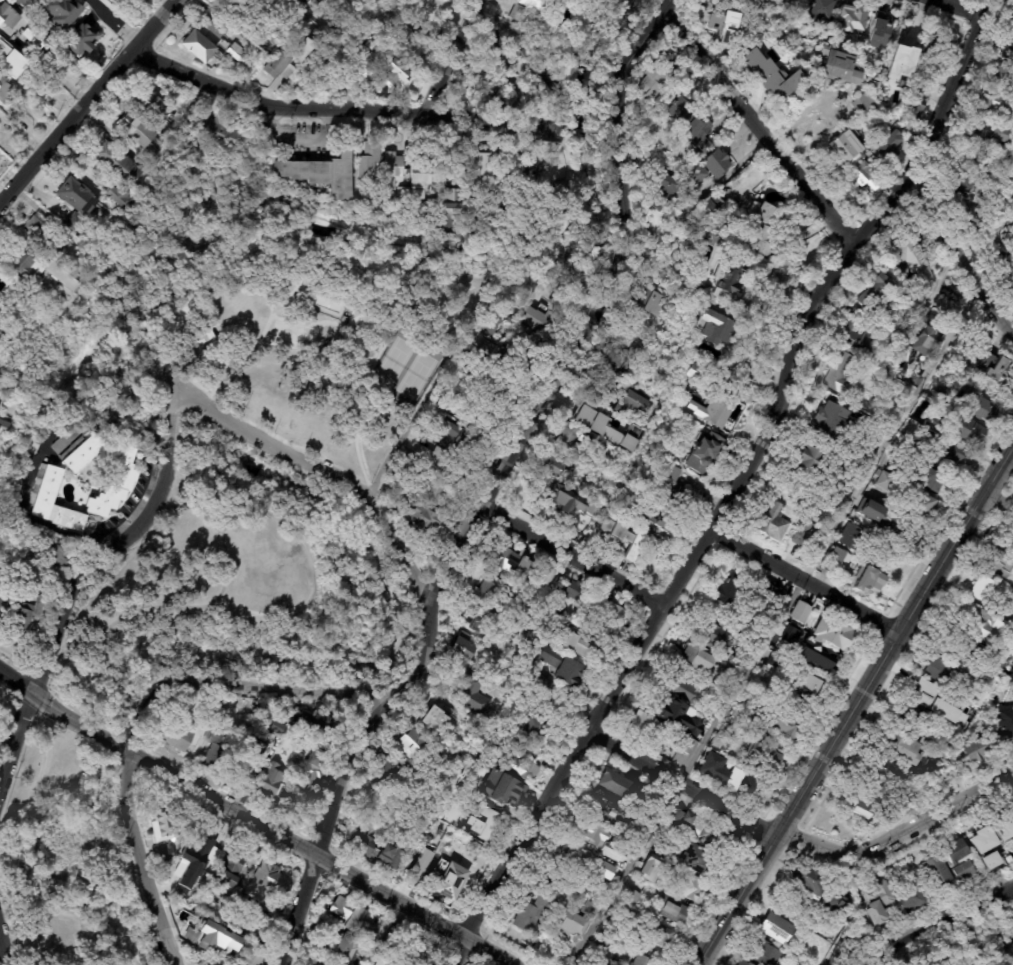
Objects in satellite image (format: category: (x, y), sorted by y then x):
building: (296, 0)
building: (299, 0)
building: (446, 0)
building: (251, 1)
building: (569, 1)
building: (767, 1)
building: (25, 2)
road: (167, 4)
building: (533, 4)
building: (786, 4)
building: (822, 9)
road: (951, 10)
building: (230, 11)
building: (7, 13)
building: (66, 13)
building: (853, 18)
road: (114, 21)
building: (721, 24)
building: (213, 26)
building: (1012, 27)
building: (257, 28)
building: (794, 30)
building: (545, 32)
building: (879, 32)
building: (39, 36)
building: (85, 39)
building: (198, 43)
building: (934, 44)
building: (1008, 50)
building: (8, 51)
building: (235, 51)
building: (517, 51)
road: (452, 56)
building: (495, 57)
building: (63, 58)
building: (285, 59)
building: (318, 62)
building: (900, 62)
building: (924, 65)
building: (361, 68)
building: (837, 69)
building: (566, 71)
building: (766, 76)
building: (391, 77)
building: (1000, 77)
building: (652, 80)
building: (486, 83)
building: (901, 84)
building: (6, 87)
building: (917, 91)
building: (539, 95)
road: (89, 102)
building: (859, 104)
building: (994, 104)
building: (151, 106)
building: (914, 109)
road: (336, 111)
building: (688, 121)
road: (754, 128)
building: (213, 130)
road: (582, 130)
building: (989, 132)
building: (138, 133)
building: (886, 146)
building: (844, 148)
building: (973, 157)
building: (368, 160)
building: (116, 162)
building: (481, 162)
building: (715, 162)
building: (391, 169)
building: (455, 170)
building: (323, 172)
building: (694, 173)
building: (417, 176)
building: (861, 178)
building: (771, 179)
building: (961, 188)
building: (666, 190)
building: (560, 193)
building: (119, 194)
building: (73, 200)
building: (362, 201)
building: (434, 204)
building: (449, 205)
building: (688, 205)
building: (712, 208)
building: (975, 219)
building: (1003, 226)
building: (758, 227)
building: (686, 228)
building: (43, 234)
road: (288, 239)
road: (958, 256)
building: (20, 264)
building: (917, 266)
building: (57, 274)
building: (697, 275)
road: (550, 283)
building: (728, 283)
building: (873, 293)
building: (496, 298)
building: (649, 300)
building: (327, 303)
road: (274, 312)
road: (376, 315)
road: (440, 317)
building: (542, 318)
building: (487, 322)
building: (710, 325)
building: (1, 331)
park: (286, 334)
building: (209, 336)
building: (627, 337)
building: (859, 340)
building: (923, 340)
building: (530, 344)
building: (491, 350)
park: (319, 353)
building: (612, 355)
road: (222, 358)
park: (404, 366)
building: (986, 368)
building: (515, 370)
building: (838, 372)
building: (624, 374)
building: (696, 374)
building: (913, 380)
road: (212, 385)
building: (10, 387)
park: (126, 388)
road: (427, 390)
road: (361, 396)
building: (500, 398)
building: (631, 401)
building: (975, 405)
road: (171, 407)
building: (713, 409)
building: (828, 420)
building: (4, 423)
building: (606, 428)
building: (965, 430)
building: (454, 435)
building: (572, 436)
building: (64, 438)
building: (876, 441)
road: (169, 445)
building: (604, 448)
building: (943, 450)
building: (701, 454)
building: (427, 457)
building: (805, 458)
building: (27, 466)
building: (555, 466)
road: (316, 468)
building: (672, 472)
building: (123, 475)
building: (932, 475)
building: (883, 480)
road: (739, 487)
building: (50, 489)
building: (430, 492)
road: (495, 492)
building: (571, 498)
building: (683, 499)
road: (996, 504)
road: (201, 506)
building: (917, 507)
building: (875, 513)
road: (21, 516)
building: (420, 516)
building: (640, 517)
building: (771, 521)
building: (661, 522)
building: (801, 535)
building: (848, 536)
building: (622, 538)
road: (304, 543)
building: (53, 554)
building: (838, 555)
road: (577, 556)
building: (510, 561)
building: (1001, 562)
building: (543, 575)
road: (808, 580)
building: (869, 580)
park: (242, 589)
building: (727, 589)
building: (574, 590)
building: (992, 592)
building: (489, 593)
building: (773, 593)
building: (1, 604)
road: (185, 606)
building: (799, 611)
building: (611, 612)
building: (23, 614)
road: (66, 620)
building: (478, 622)
building: (980, 622)
road: (772, 626)
building: (710, 633)
building: (831, 634)
building: (573, 646)
building: (972, 647)
building: (461, 649)
building: (1007, 651)
building: (817, 658)
building: (698, 659)
building: (559, 666)
building: (939, 670)
building: (727, 673)
building: (1010, 675)
building: (232, 684)
building: (807, 684)
building: (534, 686)
building: (681, 688)
building: (470, 693)
building: (924, 695)
road: (38, 696)
road: (101, 698)
building: (957, 700)
road: (857, 705)
road: (139, 709)
building: (0, 715)
building: (677, 716)
building: (911, 717)
building: (430, 719)
building: (1005, 719)
building: (313, 724)
building: (270, 725)
building: (642, 725)
building: (786, 725)
building: (533, 728)
building: (759, 731)
road: (97, 733)
building: (171, 733)
building: (699, 736)
building: (408, 744)
building: (685, 745)
building: (900, 747)
building: (214, 748)
building: (312, 748)
building: (657, 749)
building: (975, 750)
building: (761, 756)
building: (298, 757)
building: (514, 761)
building: (248, 763)
building: (884, 768)
building: (928, 772)
building: (391, 773)
building: (726, 774)
building: (306, 779)
building: (268, 781)
building: (615, 786)
building: (500, 790)
building: (861, 804)
road: (23, 807)
building: (889, 811)
building: (606, 814)
road: (13, 817)
building: (162, 823)
building: (480, 823)
building: (698, 828)
building: (999, 834)
building: (594, 836)
road: (797, 841)
building: (205, 848)
building: (664, 850)
road: (320, 851)
building: (378, 851)
building: (954, 851)
building: (163, 852)
park: (70, 858)
building: (191, 858)
building: (691, 858)
building: (579, 859)
building: (988, 860)
building: (421, 863)
building: (232, 870)
building: (604, 870)
building: (964, 870)
building: (937, 873)
building: (643, 875)
building: (194, 879)
building: (265, 880)
building: (455, 882)
building: (805, 882)
building: (687, 886)
building: (180, 894)
building: (910, 896)
building: (629, 898)
building: (875, 901)
building: (837, 906)
building: (587, 908)
building: (669, 910)
building: (215, 911)
building: (352, 916)
building: (531, 916)
road: (67, 917)
building: (231, 924)
building: (775, 925)
building: (262, 926)
building: (567, 927)
road: (947, 927)
building: (658, 934)
building: (208, 939)
building: (387, 939)
building: (600, 939)
building: (338, 944)
road: (4, 946)
building: (235, 946)
building: (843, 949)
building: (763, 952)
building: (249, 956)
building: (641, 960)
building: (382, 962)
building: (318, 963)
building: (740, 963)
building: (601, 964)

